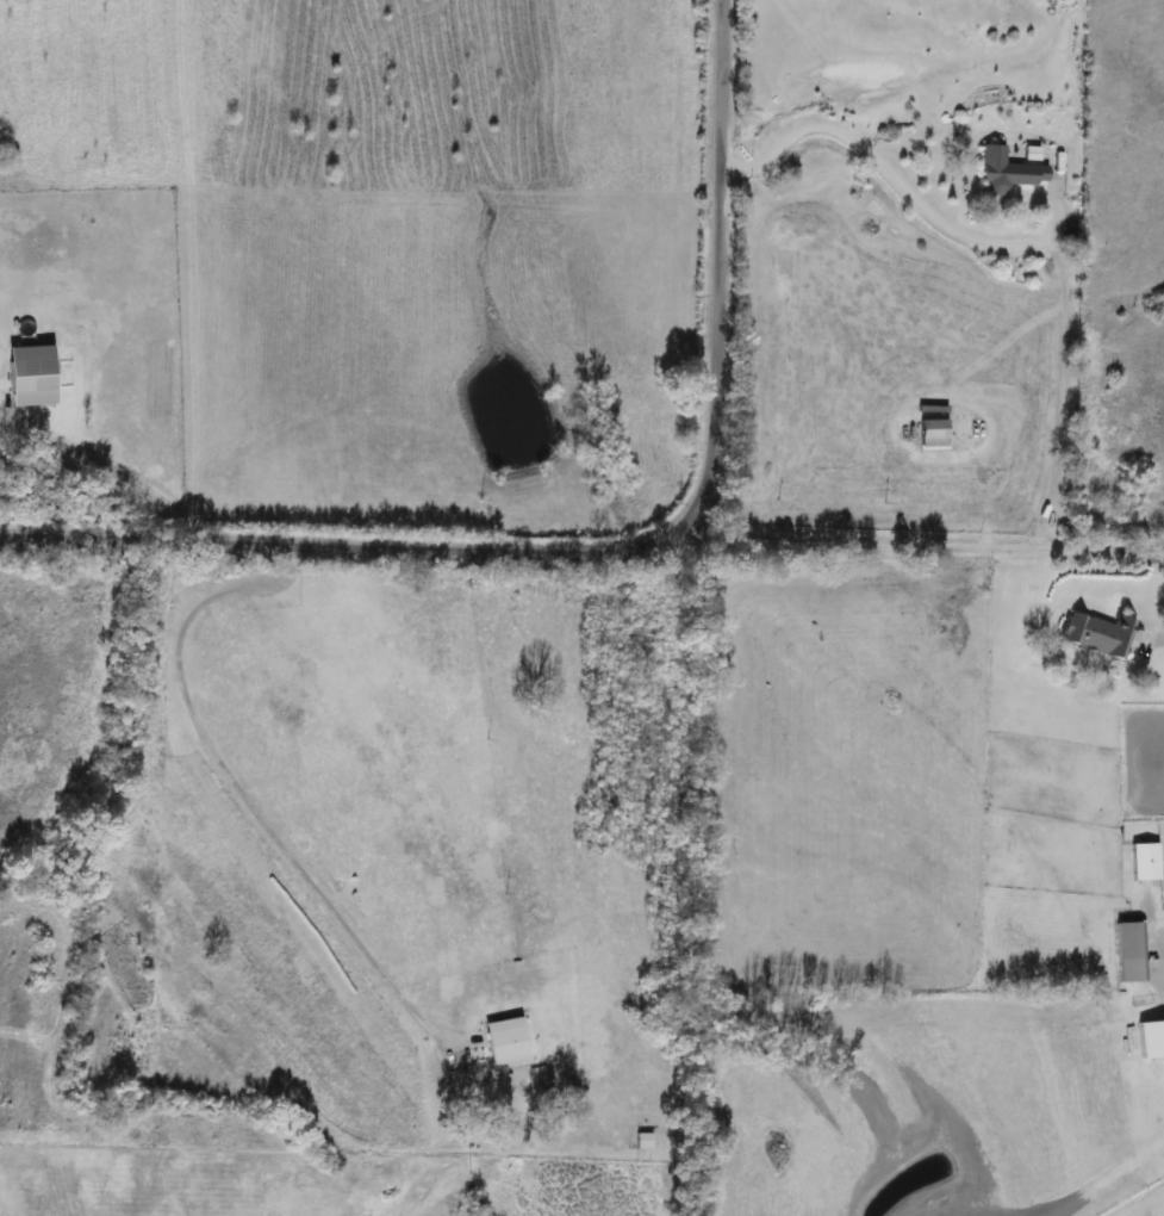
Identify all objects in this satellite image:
building: (1004, 172)
road: (1014, 237)
road: (720, 266)
building: (26, 377)
building: (929, 433)
road: (116, 467)
road: (921, 544)
road: (346, 547)
building: (1095, 635)
road: (242, 786)
building: (1143, 862)
building: (1123, 953)
airport hangar: (1149, 1037)
building: (1149, 1040)

